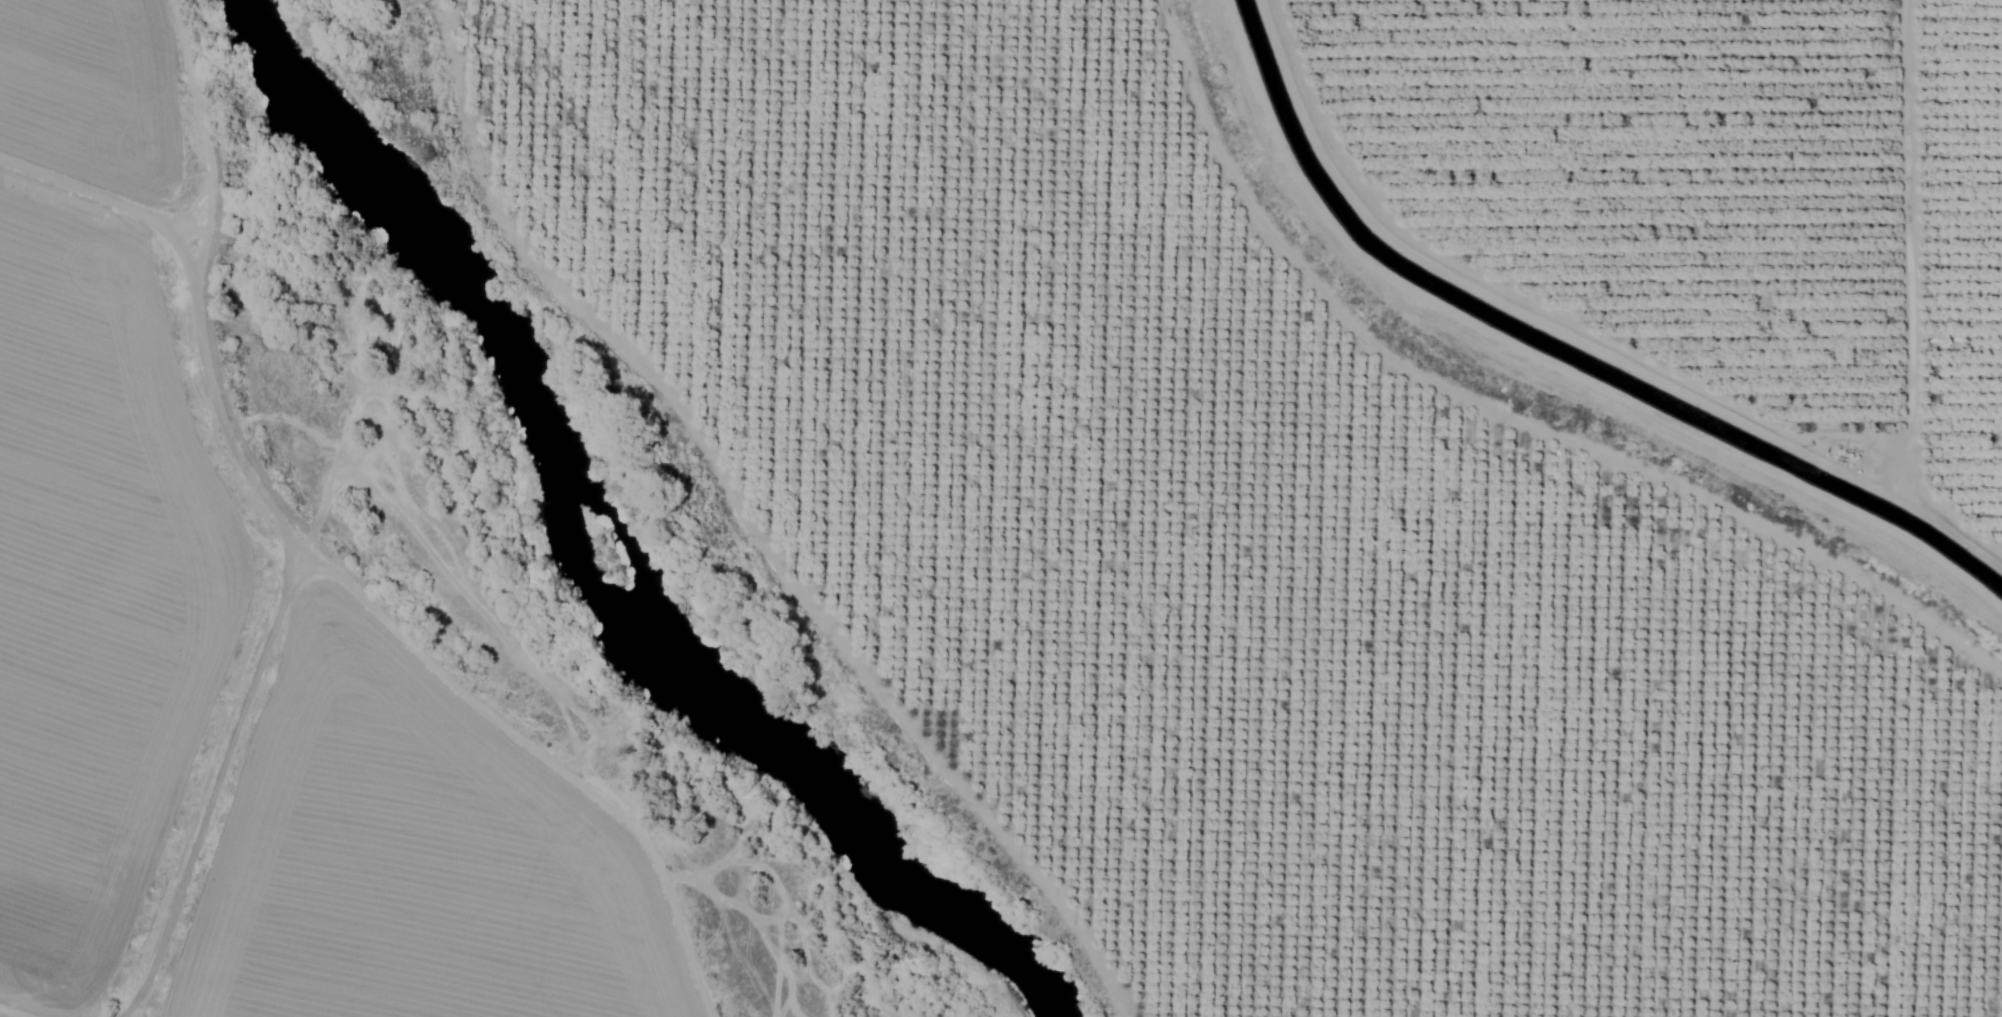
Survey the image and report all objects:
crop: (1372, 456)
river: (605, 537)
road: (355, 581)

